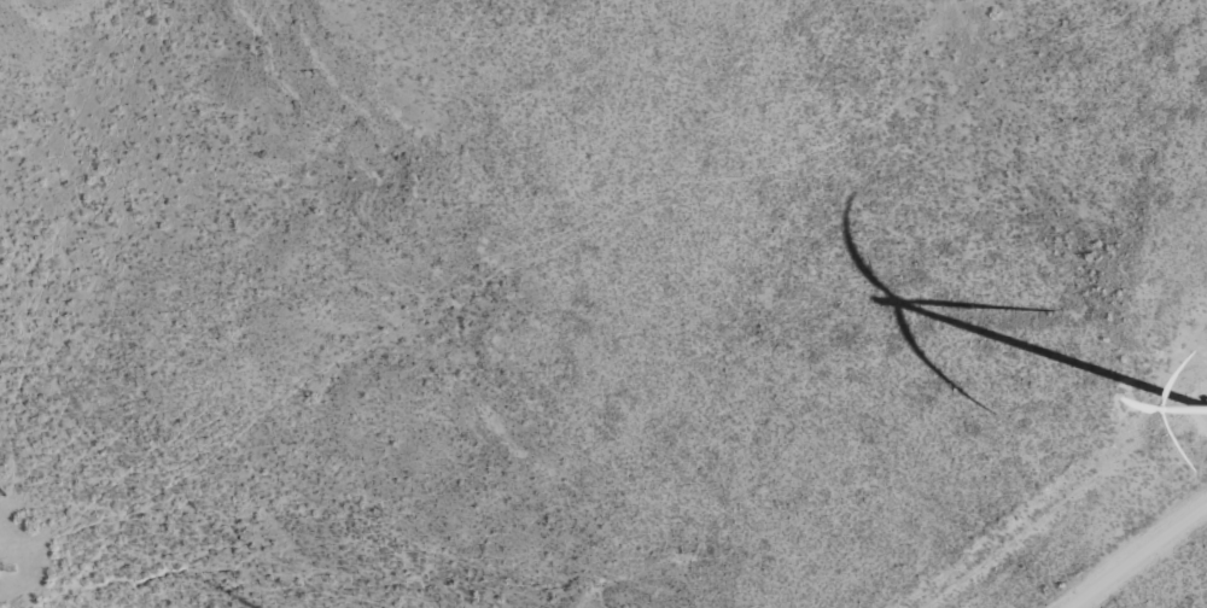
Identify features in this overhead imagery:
wind turbine: (1195, 414)

